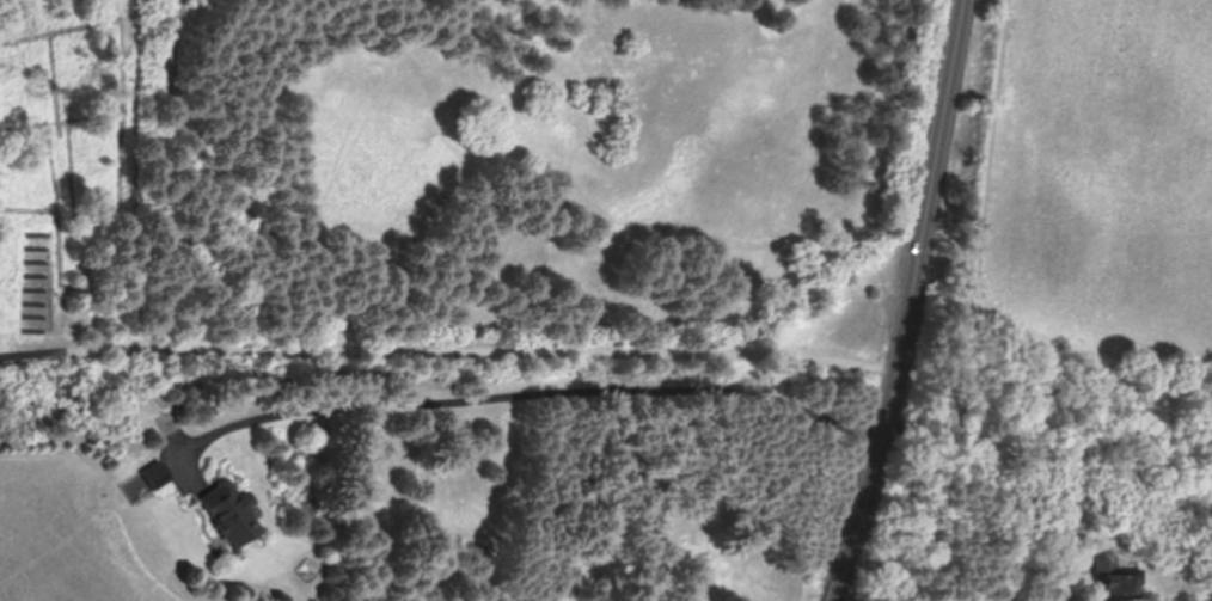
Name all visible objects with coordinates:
road: (226, 194)
road: (975, 270)
road: (910, 302)
road: (449, 349)
road: (540, 390)
building: (165, 422)
building: (155, 474)
building: (229, 513)
building: (1114, 577)

